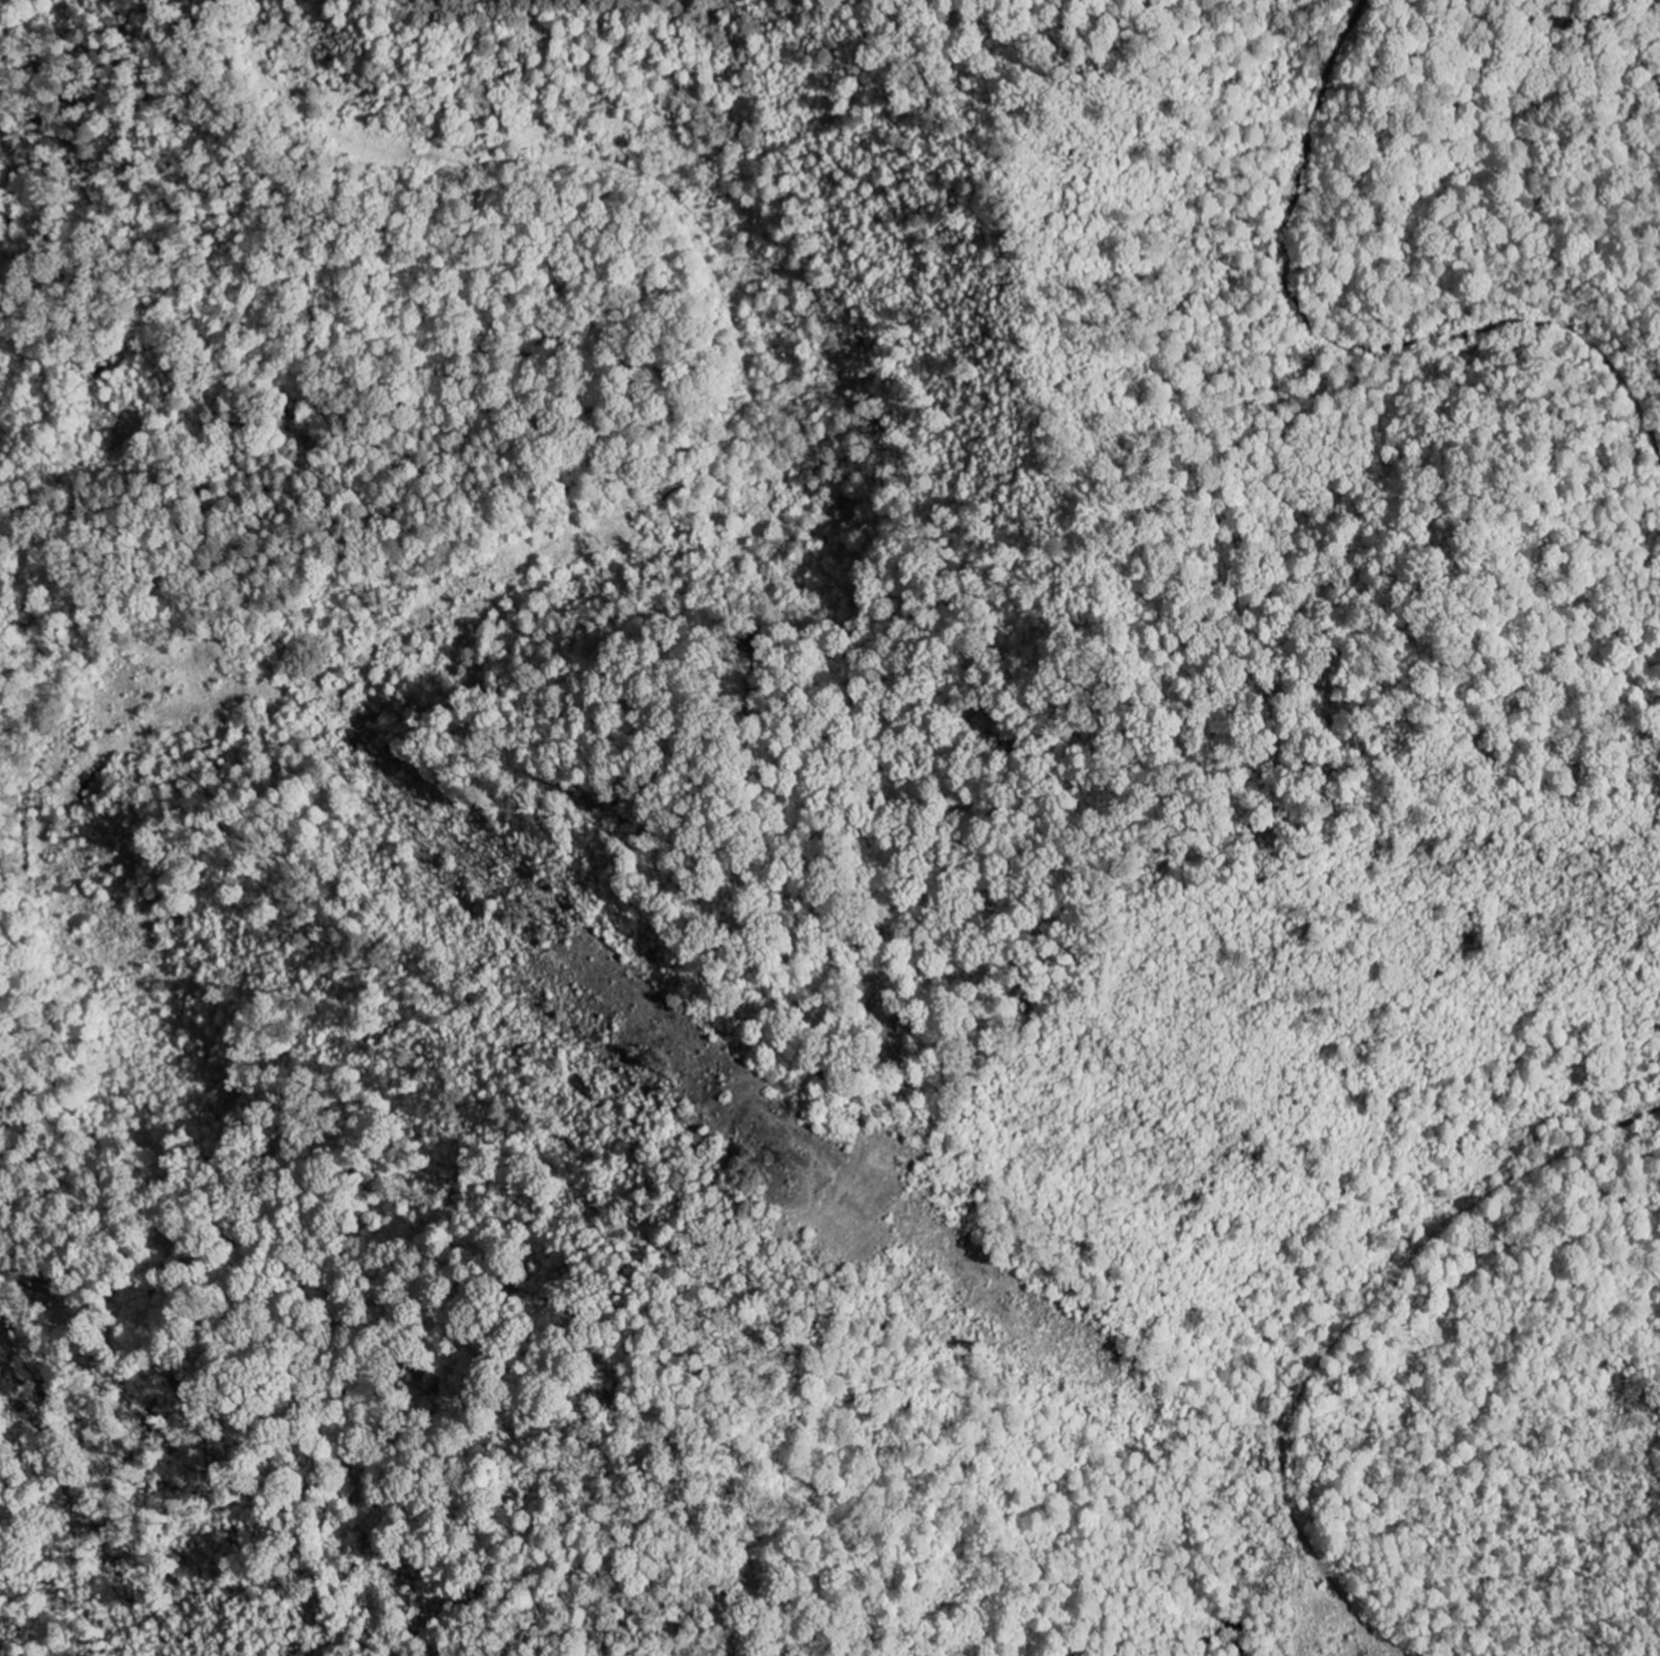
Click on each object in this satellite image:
road: (10, 193)

